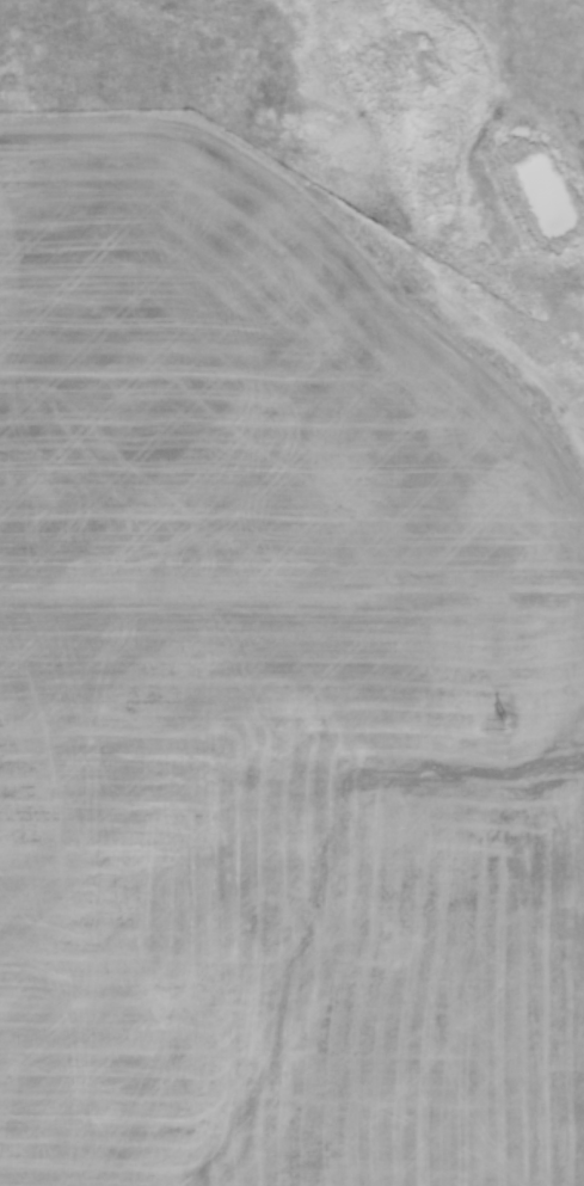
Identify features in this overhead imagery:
power tower: (505, 725)
building: (359, 983)

